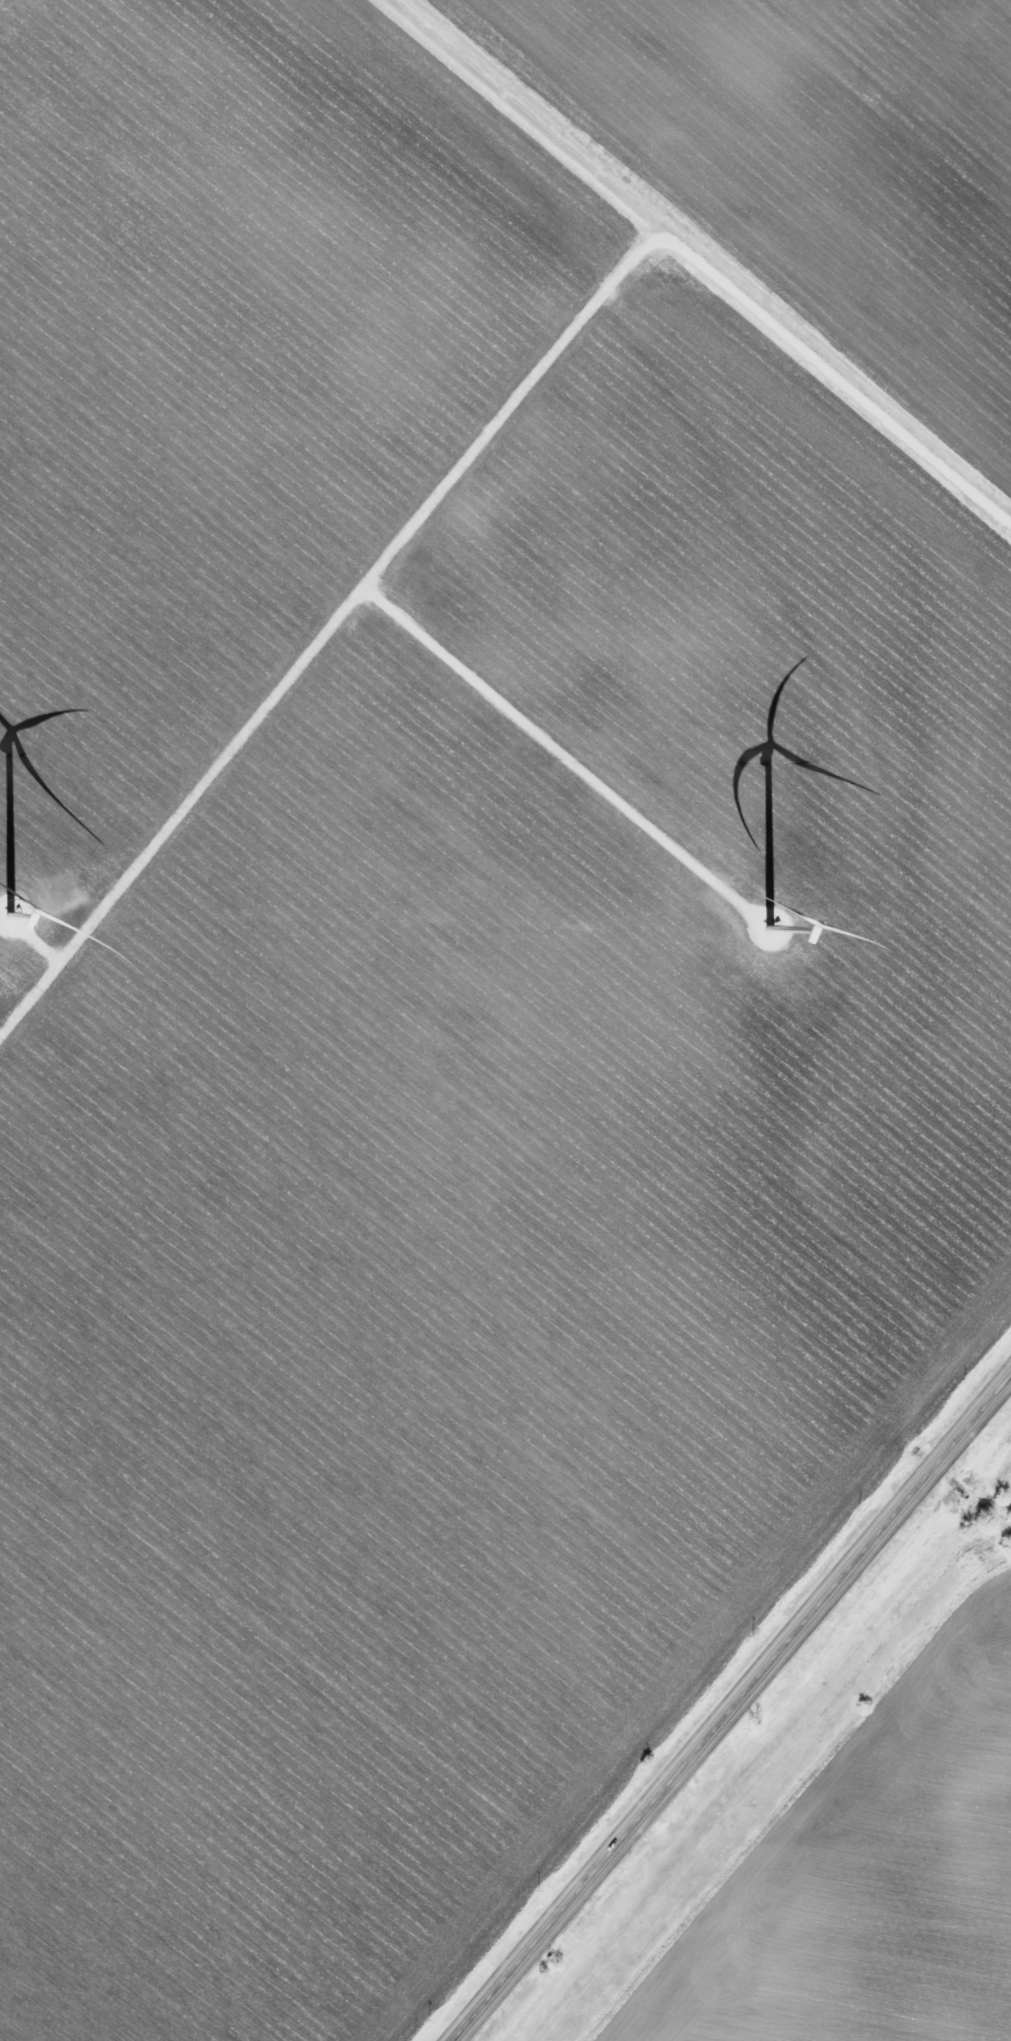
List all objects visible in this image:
wind turbine: (20, 911)
wind turbine: (764, 922)
road: (731, 1708)
railway: (769, 1753)

